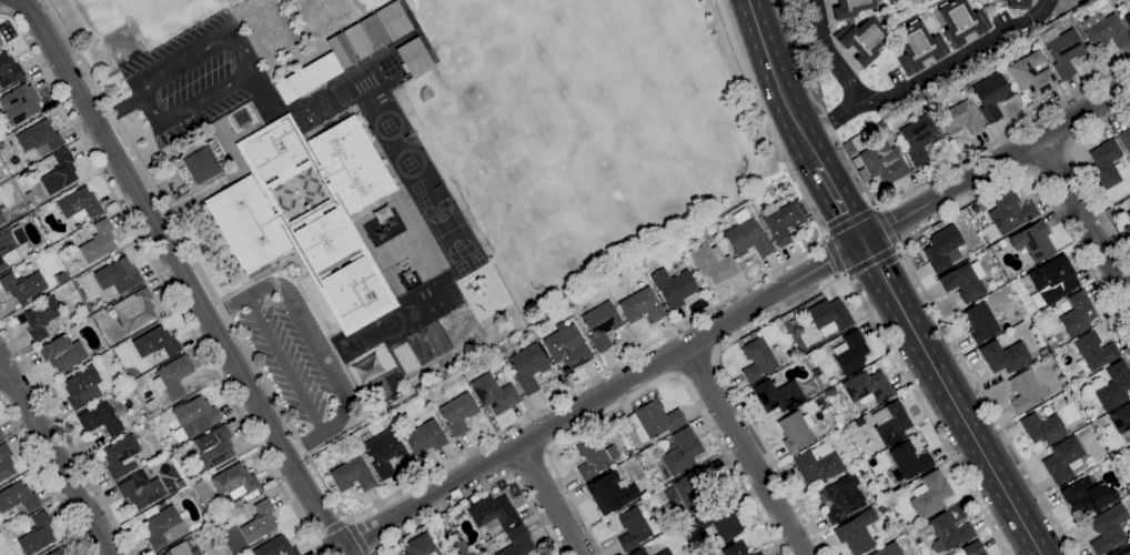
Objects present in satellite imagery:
building: (1129, 1)
building: (1018, 3)
building: (850, 8)
park: (904, 10)
building: (1074, 14)
road: (907, 17)
building: (1127, 20)
building: (961, 22)
building: (1103, 30)
building: (1028, 39)
building: (861, 40)
building: (1, 42)
building: (918, 48)
building: (346, 50)
building: (1063, 50)
building: (414, 57)
road: (245, 61)
building: (9, 70)
road: (771, 70)
building: (1031, 74)
road: (909, 85)
building: (991, 95)
building: (19, 103)
road: (118, 109)
road: (834, 119)
building: (960, 119)
building: (881, 125)
building: (39, 138)
building: (918, 138)
building: (1124, 139)
road: (1050, 159)
building: (199, 161)
building: (879, 163)
building: (1104, 165)
building: (59, 172)
road: (1080, 172)
building: (783, 182)
road: (831, 190)
road: (902, 194)
building: (754, 202)
building: (79, 204)
building: (1116, 212)
building: (309, 213)
building: (1008, 214)
building: (1128, 215)
building: (1, 219)
road: (850, 221)
building: (781, 222)
road: (1083, 222)
building: (938, 224)
building: (77, 226)
road: (887, 226)
building: (1118, 228)
building: (1127, 231)
building: (747, 236)
building: (1032, 241)
building: (98, 242)
traffic signals: (862, 242)
building: (1001, 243)
building: (10, 245)
road: (901, 249)
building: (942, 249)
road: (835, 254)
road: (871, 259)
building: (713, 264)
building: (675, 270)
building: (118, 275)
road: (182, 275)
road: (162, 281)
building: (963, 281)
building: (1051, 281)
building: (22, 285)
building: (673, 287)
road: (819, 287)
building: (640, 306)
building: (94, 307)
road: (228, 307)
building: (134, 310)
building: (1077, 314)
road: (734, 316)
building: (829, 316)
building: (40, 317)
building: (980, 322)
building: (601, 324)
building: (797, 331)
building: (527, 334)
building: (155, 343)
building: (1051, 345)
building: (566, 349)
building: (1042, 351)
building: (1094, 351)
building: (850, 352)
building: (61, 353)
building: (1053, 353)
building: (1003, 356)
building: (405, 357)
building: (757, 360)
road: (327, 364)
road: (285, 365)
road: (697, 365)
road: (1, 367)
building: (528, 367)
building: (173, 376)
building: (831, 382)
building: (1114, 386)
building: (82, 387)
building: (867, 387)
road: (650, 389)
building: (1023, 391)
building: (830, 392)
building: (493, 394)
building: (777, 395)
road: (952, 397)
building: (397, 398)
building: (457, 413)
building: (142, 416)
building: (100, 418)
building: (193, 418)
building: (1120, 418)
building: (653, 421)
building: (858, 421)
building: (890, 422)
building: (838, 424)
building: (1041, 428)
building: (795, 431)
building: (0, 435)
road: (67, 436)
building: (424, 436)
building: (213, 448)
building: (680, 451)
road: (744, 451)
building: (384, 452)
road: (54, 457)
building: (121, 457)
building: (594, 457)
building: (1062, 460)
building: (908, 461)
building: (6, 462)
road: (531, 463)
road: (438, 464)
building: (817, 464)
building: (860, 471)
building: (352, 475)
road: (46, 477)
building: (180, 483)
building: (234, 483)
road: (481, 488)
building: (140, 490)
building: (690, 491)
building: (201, 492)
building: (611, 493)
building: (929, 494)
building: (1087, 495)
building: (18, 497)
building: (841, 498)
road: (548, 500)
building: (161, 504)
building: (881, 507)
building: (492, 513)
building: (455, 514)
building: (213, 515)
building: (719, 519)
building: (259, 522)
building: (633, 527)
building: (164, 528)
road: (330, 528)
building: (916, 528)
building: (1107, 528)
building: (857, 532)
building: (948, 532)
building: (37, 534)
road: (356, 537)
building: (515, 542)
building: (420, 546)
building: (460, 547)
building: (182, 548)
building: (275, 548)
building: (734, 548)
building: (888, 549)
building: (971, 549)
building: (1122, 551)
building: (638, 552)
building: (664, 552)
building: (56, 553)
building: (757, 553)
building: (63, 554)

